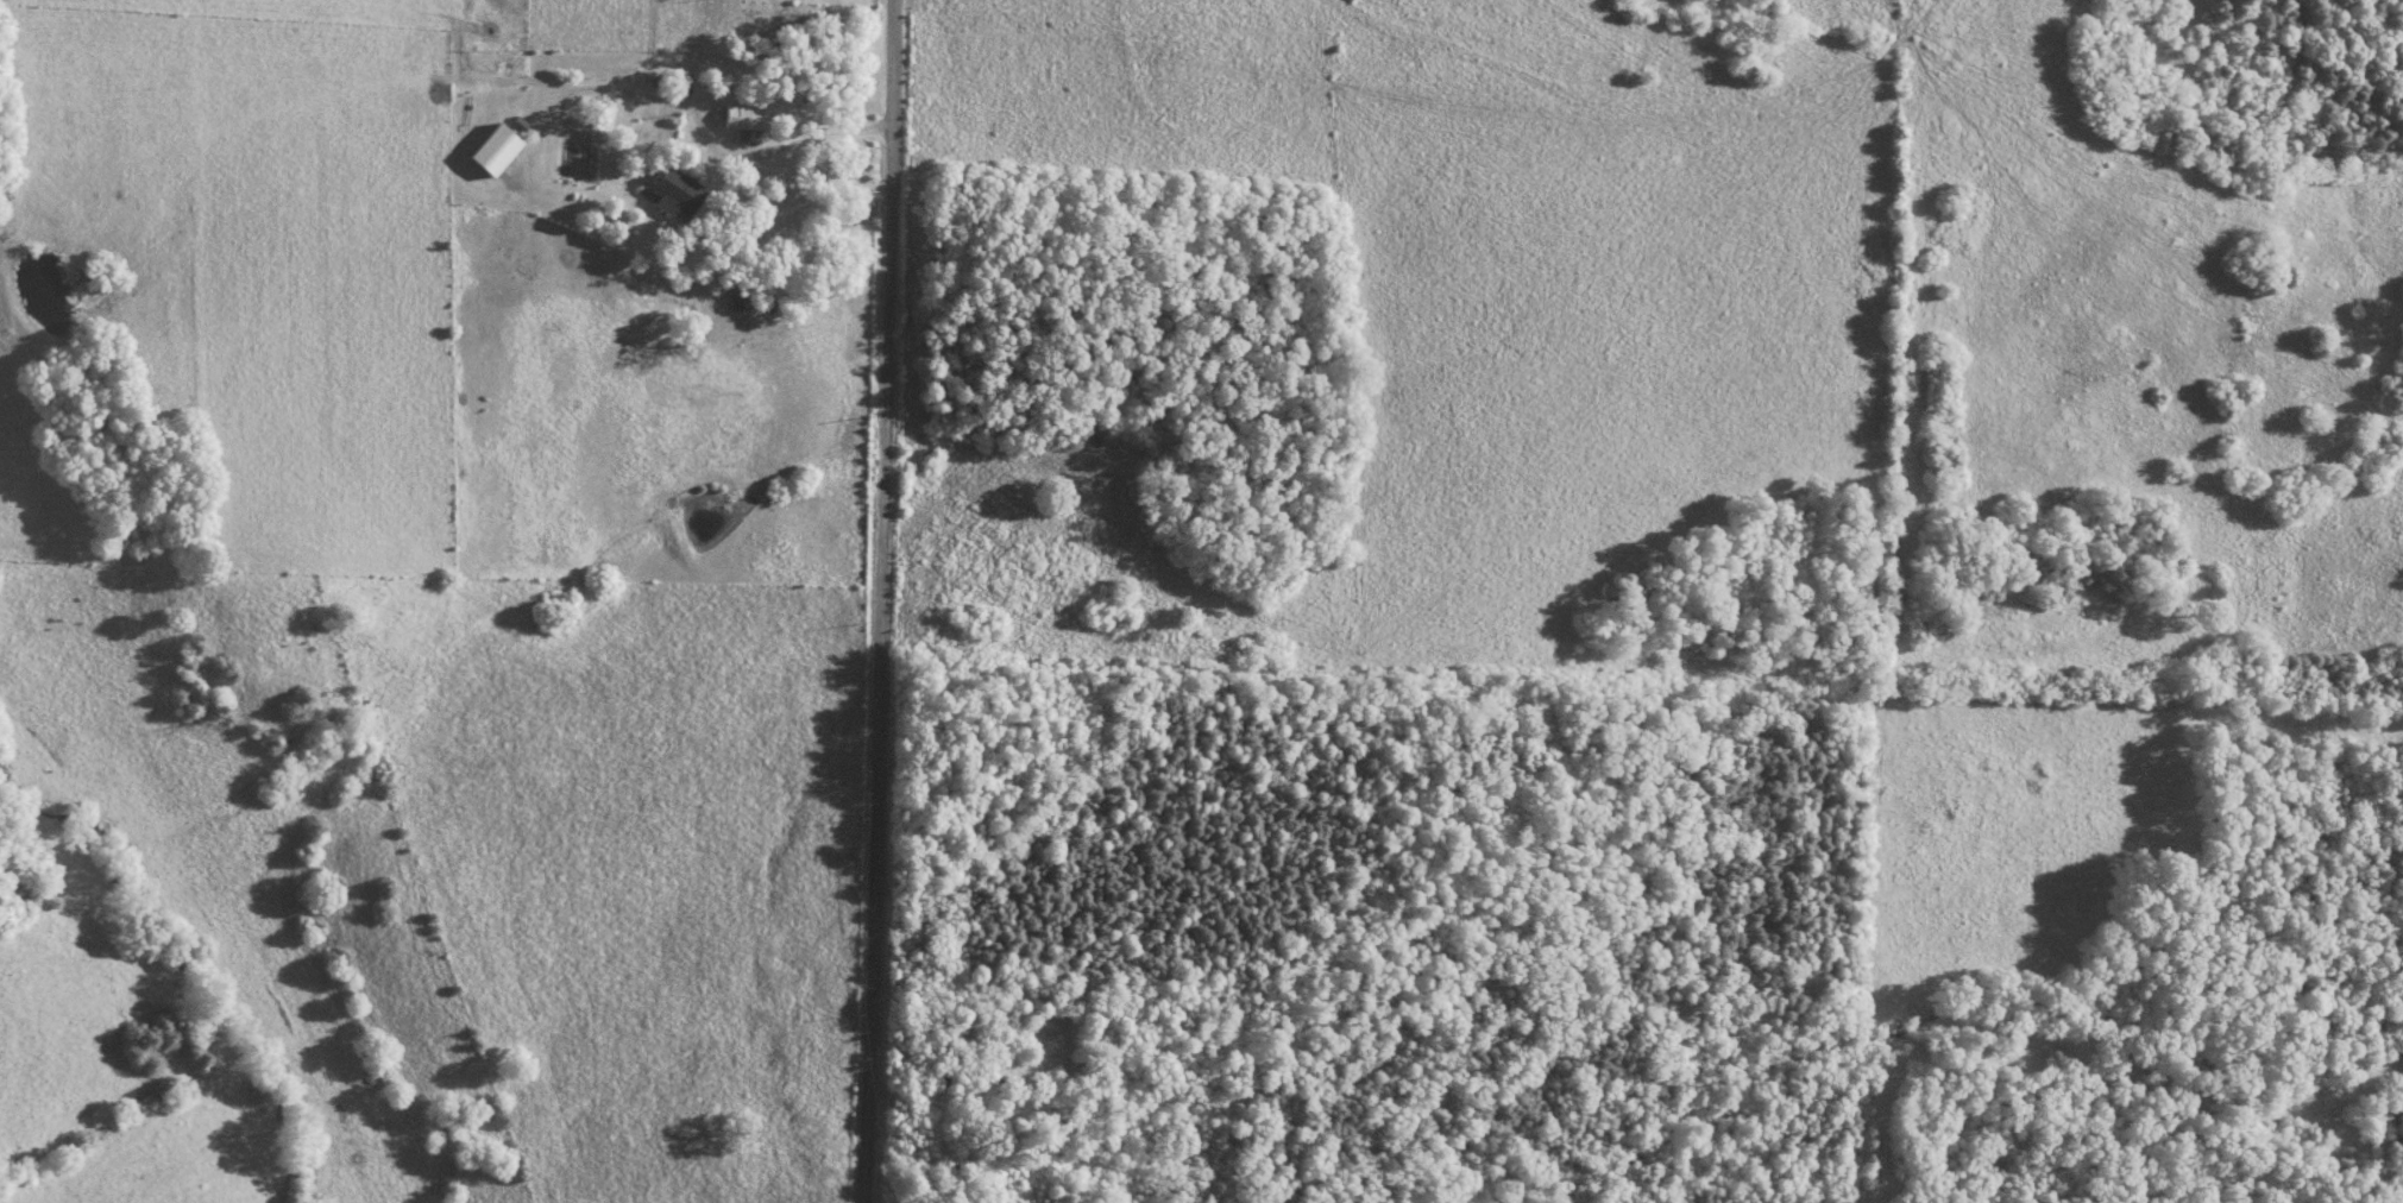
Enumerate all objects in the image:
building: (746, 116)
road: (792, 152)
building: (680, 189)
road: (880, 600)

